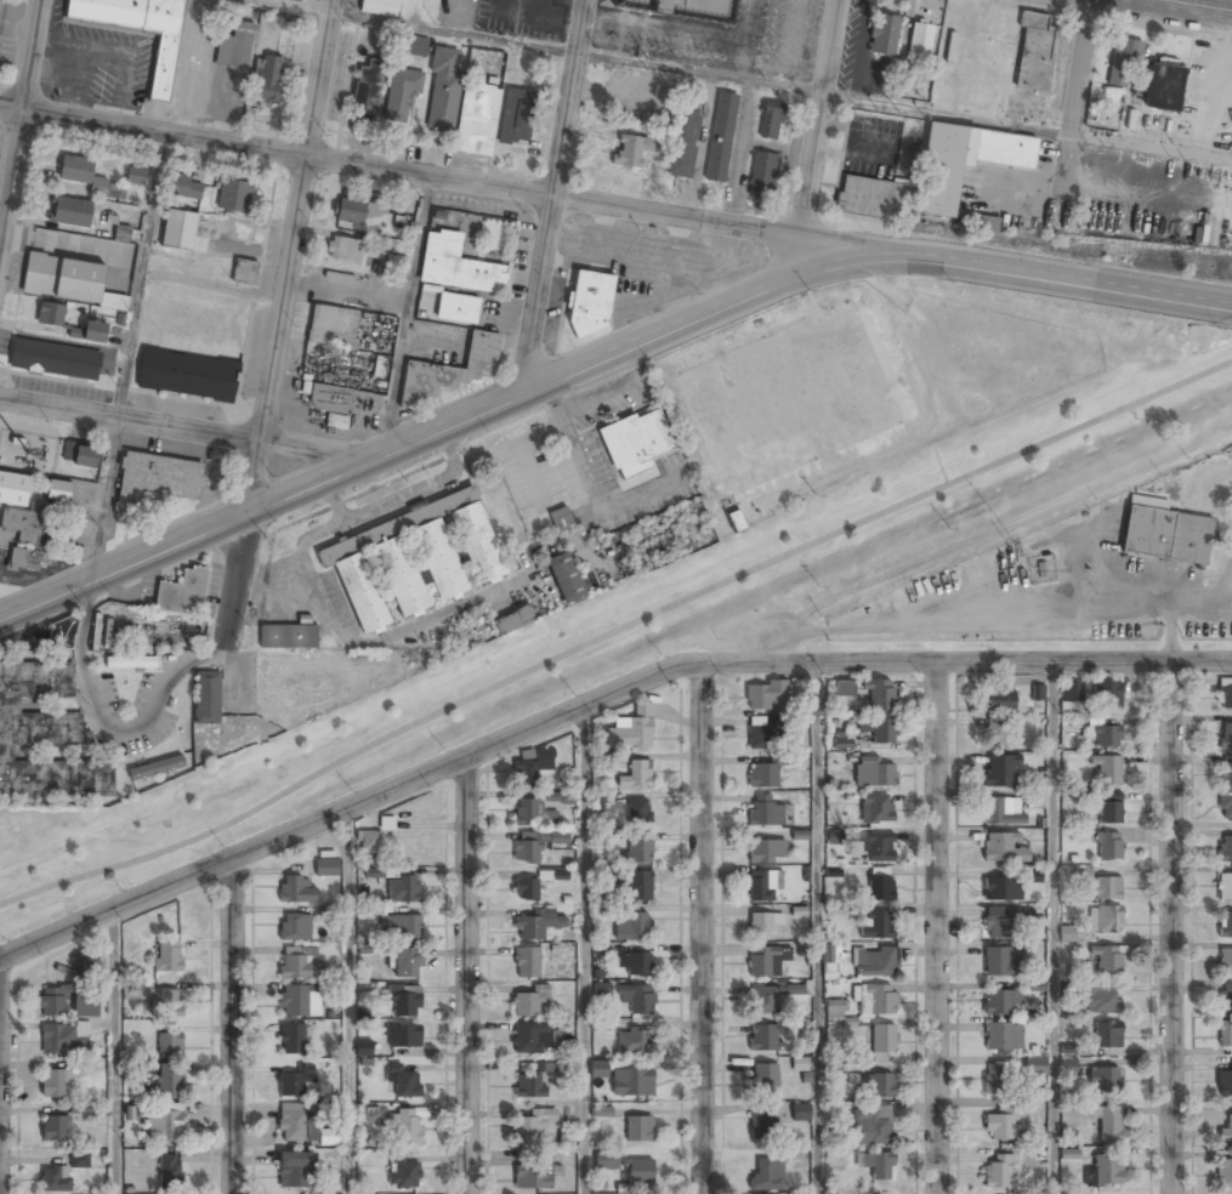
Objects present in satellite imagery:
building: (728, 0)
building: (719, 1)
building: (626, 2)
building: (654, 4)
building: (380, 7)
road: (1183, 8)
building: (138, 30)
building: (884, 35)
building: (919, 41)
building: (415, 45)
building: (235, 47)
building: (1034, 53)
building: (1123, 59)
building: (271, 79)
building: (907, 79)
building: (1163, 87)
building: (365, 90)
building: (443, 90)
building: (401, 96)
road: (1083, 99)
building: (516, 115)
road: (18, 118)
building: (477, 119)
building: (771, 120)
road: (824, 120)
building: (721, 138)
building: (682, 143)
building: (632, 150)
building: (763, 172)
building: (81, 174)
building: (136, 176)
road: (432, 178)
building: (184, 188)
road: (568, 192)
building: (937, 192)
building: (233, 194)
building: (868, 198)
building: (350, 210)
building: (70, 212)
building: (177, 231)
building: (123, 233)
building: (344, 250)
building: (396, 262)
building: (456, 266)
building: (244, 272)
road: (141, 275)
building: (66, 279)
road: (1049, 279)
building: (590, 302)
building: (458, 308)
building: (50, 313)
road: (283, 320)
building: (333, 326)
building: (95, 331)
building: (53, 360)
building: (449, 370)
building: (367, 371)
building: (188, 374)
building: (330, 402)
road: (188, 430)
road: (432, 433)
building: (635, 447)
building: (79, 455)
building: (155, 479)
building: (13, 489)
building: (58, 490)
building: (560, 518)
building: (19, 525)
building: (1165, 534)
building: (29, 559)
building: (484, 565)
building: (564, 578)
building: (181, 591)
building: (513, 620)
park: (643, 626)
building: (108, 630)
building: (61, 633)
building: (286, 637)
road: (615, 638)
building: (130, 663)
road: (966, 664)
building: (844, 687)
building: (1037, 692)
building: (1091, 693)
building: (1225, 693)
building: (766, 694)
building: (880, 694)
building: (206, 698)
building: (998, 700)
building: (631, 728)
building: (879, 728)
building: (994, 735)
building: (44, 737)
building: (760, 737)
building: (1106, 737)
building: (1225, 737)
building: (617, 757)
building: (155, 767)
building: (532, 768)
building: (1107, 768)
building: (873, 772)
building: (999, 772)
building: (635, 774)
building: (763, 774)
building: (1225, 775)
building: (562, 798)
building: (598, 801)
road: (348, 808)
building: (875, 808)
building: (1109, 808)
building: (1225, 808)
building: (638, 811)
building: (765, 811)
building: (1001, 811)
building: (533, 814)
building: (386, 823)
building: (557, 838)
building: (368, 841)
building: (1109, 846)
building: (875, 847)
building: (1003, 848)
building: (527, 849)
building: (1225, 849)
building: (636, 851)
building: (766, 851)
building: (325, 868)
building: (1032, 876)
building: (763, 883)
building: (638, 885)
building: (529, 886)
building: (879, 886)
building: (1224, 887)
building: (1001, 888)
building: (1103, 888)
building: (295, 889)
building: (402, 889)
building: (602, 911)
building: (1105, 920)
building: (1001, 922)
building: (538, 925)
building: (761, 925)
building: (878, 925)
building: (1225, 925)
building: (631, 926)
building: (294, 927)
building: (404, 927)
road: (702, 928)
road: (817, 928)
road: (939, 928)
road: (1052, 928)
road: (1174, 929)
building: (1067, 933)
road: (585, 949)
building: (168, 955)
building: (829, 960)
building: (999, 960)
building: (766, 961)
building: (1107, 961)
building: (405, 962)
building: (527, 962)
building: (874, 962)
building: (1225, 962)
building: (81, 963)
building: (634, 963)
building: (297, 966)
road: (470, 974)
building: (1034, 987)
building: (601, 989)
building: (794, 990)
building: (636, 997)
building: (1226, 997)
building: (164, 999)
building: (405, 999)
building: (1098, 999)
building: (763, 1000)
building: (875, 1000)
building: (86, 1001)
building: (300, 1001)
building: (999, 1001)
building: (51, 1002)
road: (345, 1002)
building: (529, 1002)
building: (834, 1010)
road: (0, 1019)
building: (600, 1025)
road: (233, 1027)
building: (1225, 1034)
building: (1107, 1035)
building: (403, 1036)
building: (1003, 1036)
building: (762, 1037)
building: (57, 1039)
building: (533, 1039)
building: (882, 1039)
building: (291, 1040)
building: (634, 1042)
building: (169, 1044)
building: (363, 1048)
road: (113, 1053)
building: (801, 1064)
building: (1067, 1065)
building: (1034, 1067)
building: (597, 1070)
building: (403, 1080)
building: (765, 1080)
building: (295, 1081)
building: (530, 1081)
building: (998, 1081)
building: (1103, 1081)
building: (164, 1082)
building: (631, 1082)
building: (1224, 1082)
building: (53, 1084)
building: (878, 1086)
building: (801, 1111)
building: (296, 1122)
building: (1107, 1124)
building: (533, 1125)
building: (762, 1125)
building: (1001, 1125)
building: (165, 1126)
building: (872, 1126)
building: (404, 1127)
building: (1227, 1127)
building: (55, 1128)
building: (638, 1128)
building: (1069, 1154)
building: (79, 1160)
building: (606, 1162)
building: (876, 1165)
building: (170, 1170)
building: (295, 1171)
building: (998, 1171)
building: (1105, 1171)
building: (1224, 1171)
building: (638, 1172)
building: (403, 1175)
building: (766, 1175)
building: (534, 1176)
building: (55, 1179)

